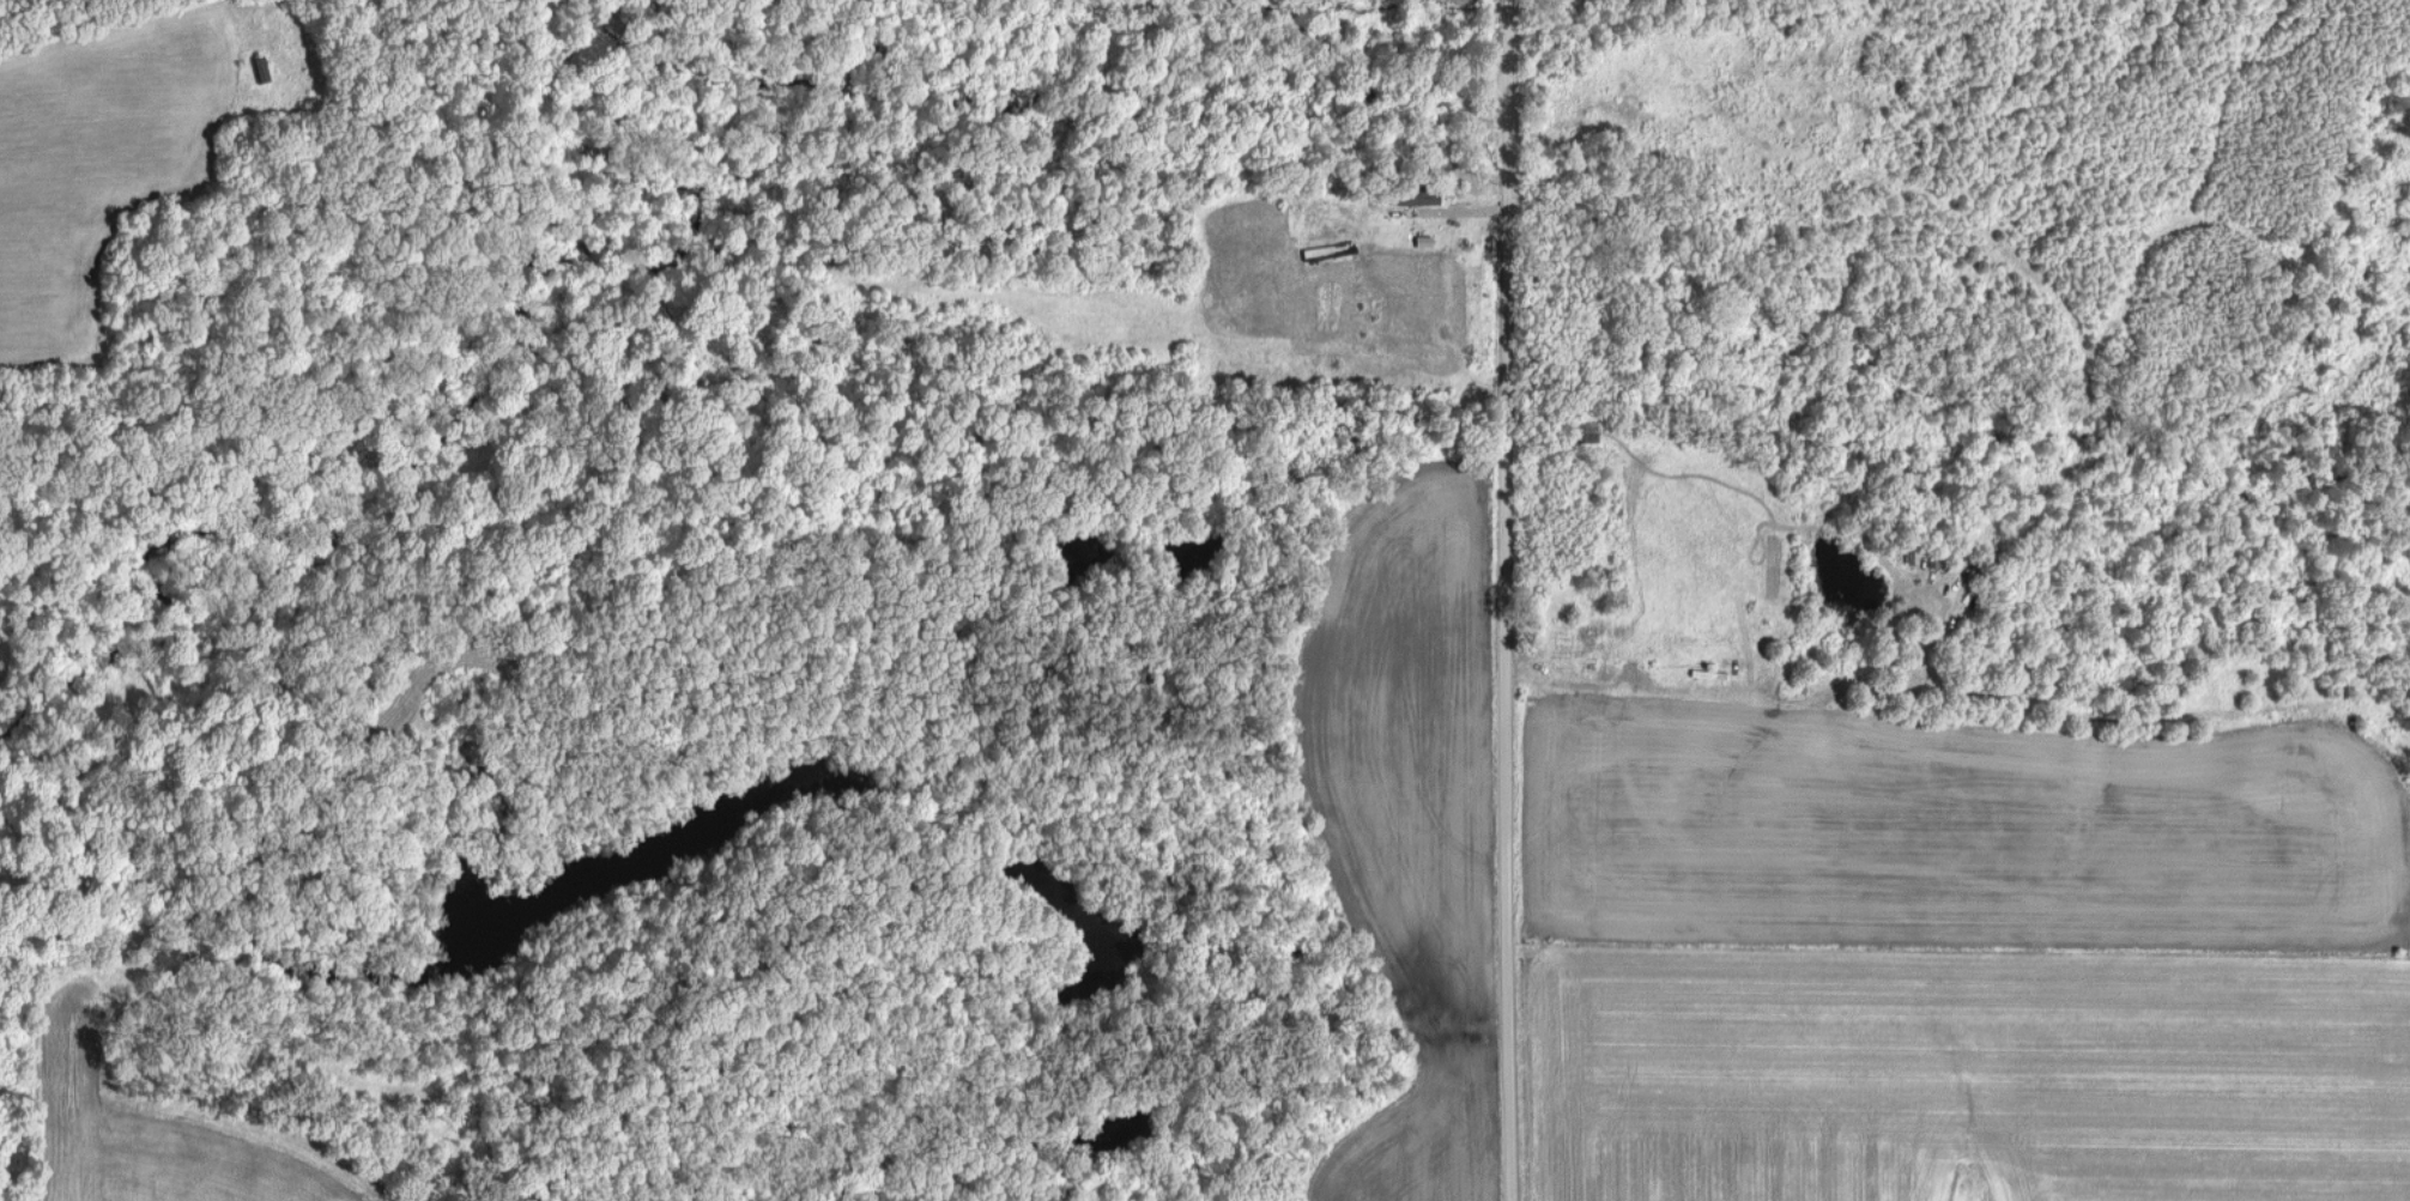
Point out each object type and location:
road: (1509, 600)

